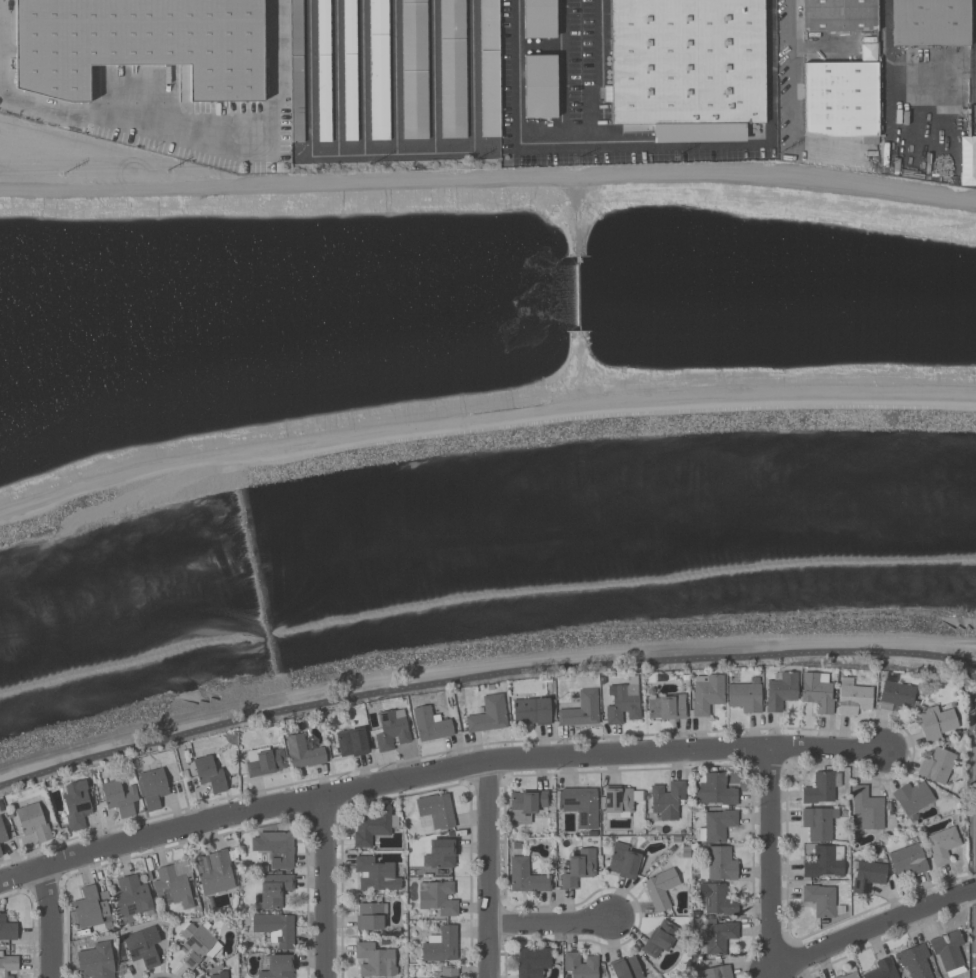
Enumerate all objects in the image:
building: (839, 16)
building: (538, 19)
building: (930, 23)
building: (140, 44)
building: (687, 67)
road: (885, 67)
building: (488, 68)
building: (414, 69)
building: (453, 69)
building: (350, 70)
building: (379, 70)
building: (296, 71)
building: (323, 71)
road: (788, 72)
road: (599, 74)
building: (539, 86)
building: (842, 96)
road: (202, 136)
road: (643, 147)
road: (391, 153)
river: (483, 551)
road: (482, 676)
building: (781, 691)
building: (707, 693)
building: (817, 693)
building: (896, 694)
building: (745, 696)
building: (853, 698)
building: (624, 705)
building: (667, 706)
building: (581, 710)
building: (533, 711)
building: (488, 715)
building: (937, 722)
building: (431, 724)
building: (392, 730)
building: (350, 742)
building: (304, 752)
building: (265, 761)
building: (937, 766)
road: (436, 770)
building: (210, 771)
building: (152, 786)
building: (821, 788)
building: (713, 790)
building: (119, 797)
building: (912, 798)
building: (666, 800)
building: (618, 802)
building: (76, 804)
building: (527, 804)
building: (581, 805)
building: (867, 808)
building: (436, 811)
building: (33, 822)
building: (817, 823)
building: (717, 825)
building: (373, 826)
building: (2, 832)
building: (942, 846)
building: (274, 847)
building: (1, 852)
building: (440, 853)
road: (771, 858)
building: (624, 861)
building: (823, 861)
building: (908, 861)
building: (719, 865)
building: (579, 867)
road: (489, 869)
building: (214, 872)
building: (374, 875)
building: (526, 876)
building: (868, 877)
building: (175, 885)
road: (325, 885)
building: (274, 889)
building: (660, 889)
building: (438, 897)
building: (132, 898)
building: (716, 899)
building: (820, 900)
building: (90, 907)
building: (371, 916)
road: (51, 921)
road: (551, 925)
building: (7, 929)
building: (275, 929)
road: (873, 931)
building: (718, 937)
building: (660, 938)
building: (197, 943)
building: (442, 945)
building: (143, 947)
building: (948, 953)
building: (95, 960)
building: (374, 961)
building: (532, 961)
building: (8, 963)
building: (916, 963)
building: (580, 964)
building: (278, 967)
building: (625, 968)
building: (882, 969)
building: (445, 972)
building: (716, 973)
building: (218, 975)
building: (849, 975)

